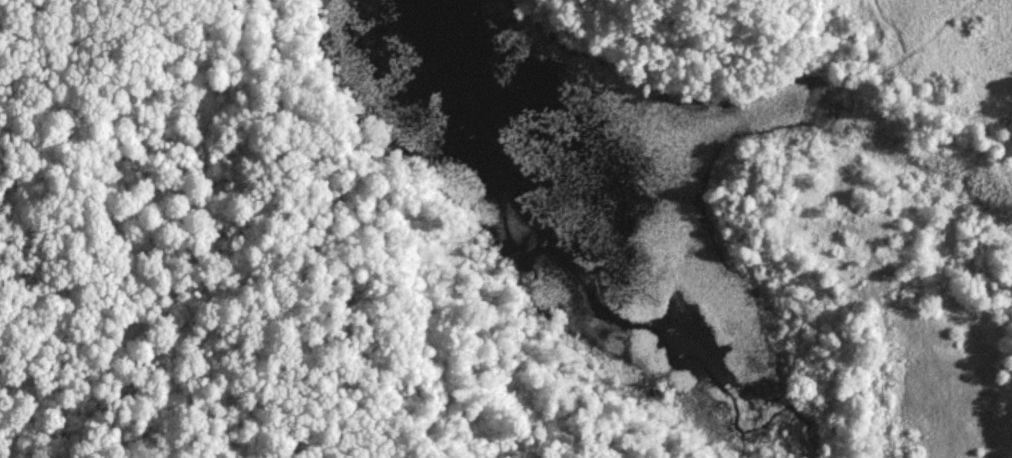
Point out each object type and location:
road: (774, 74)

